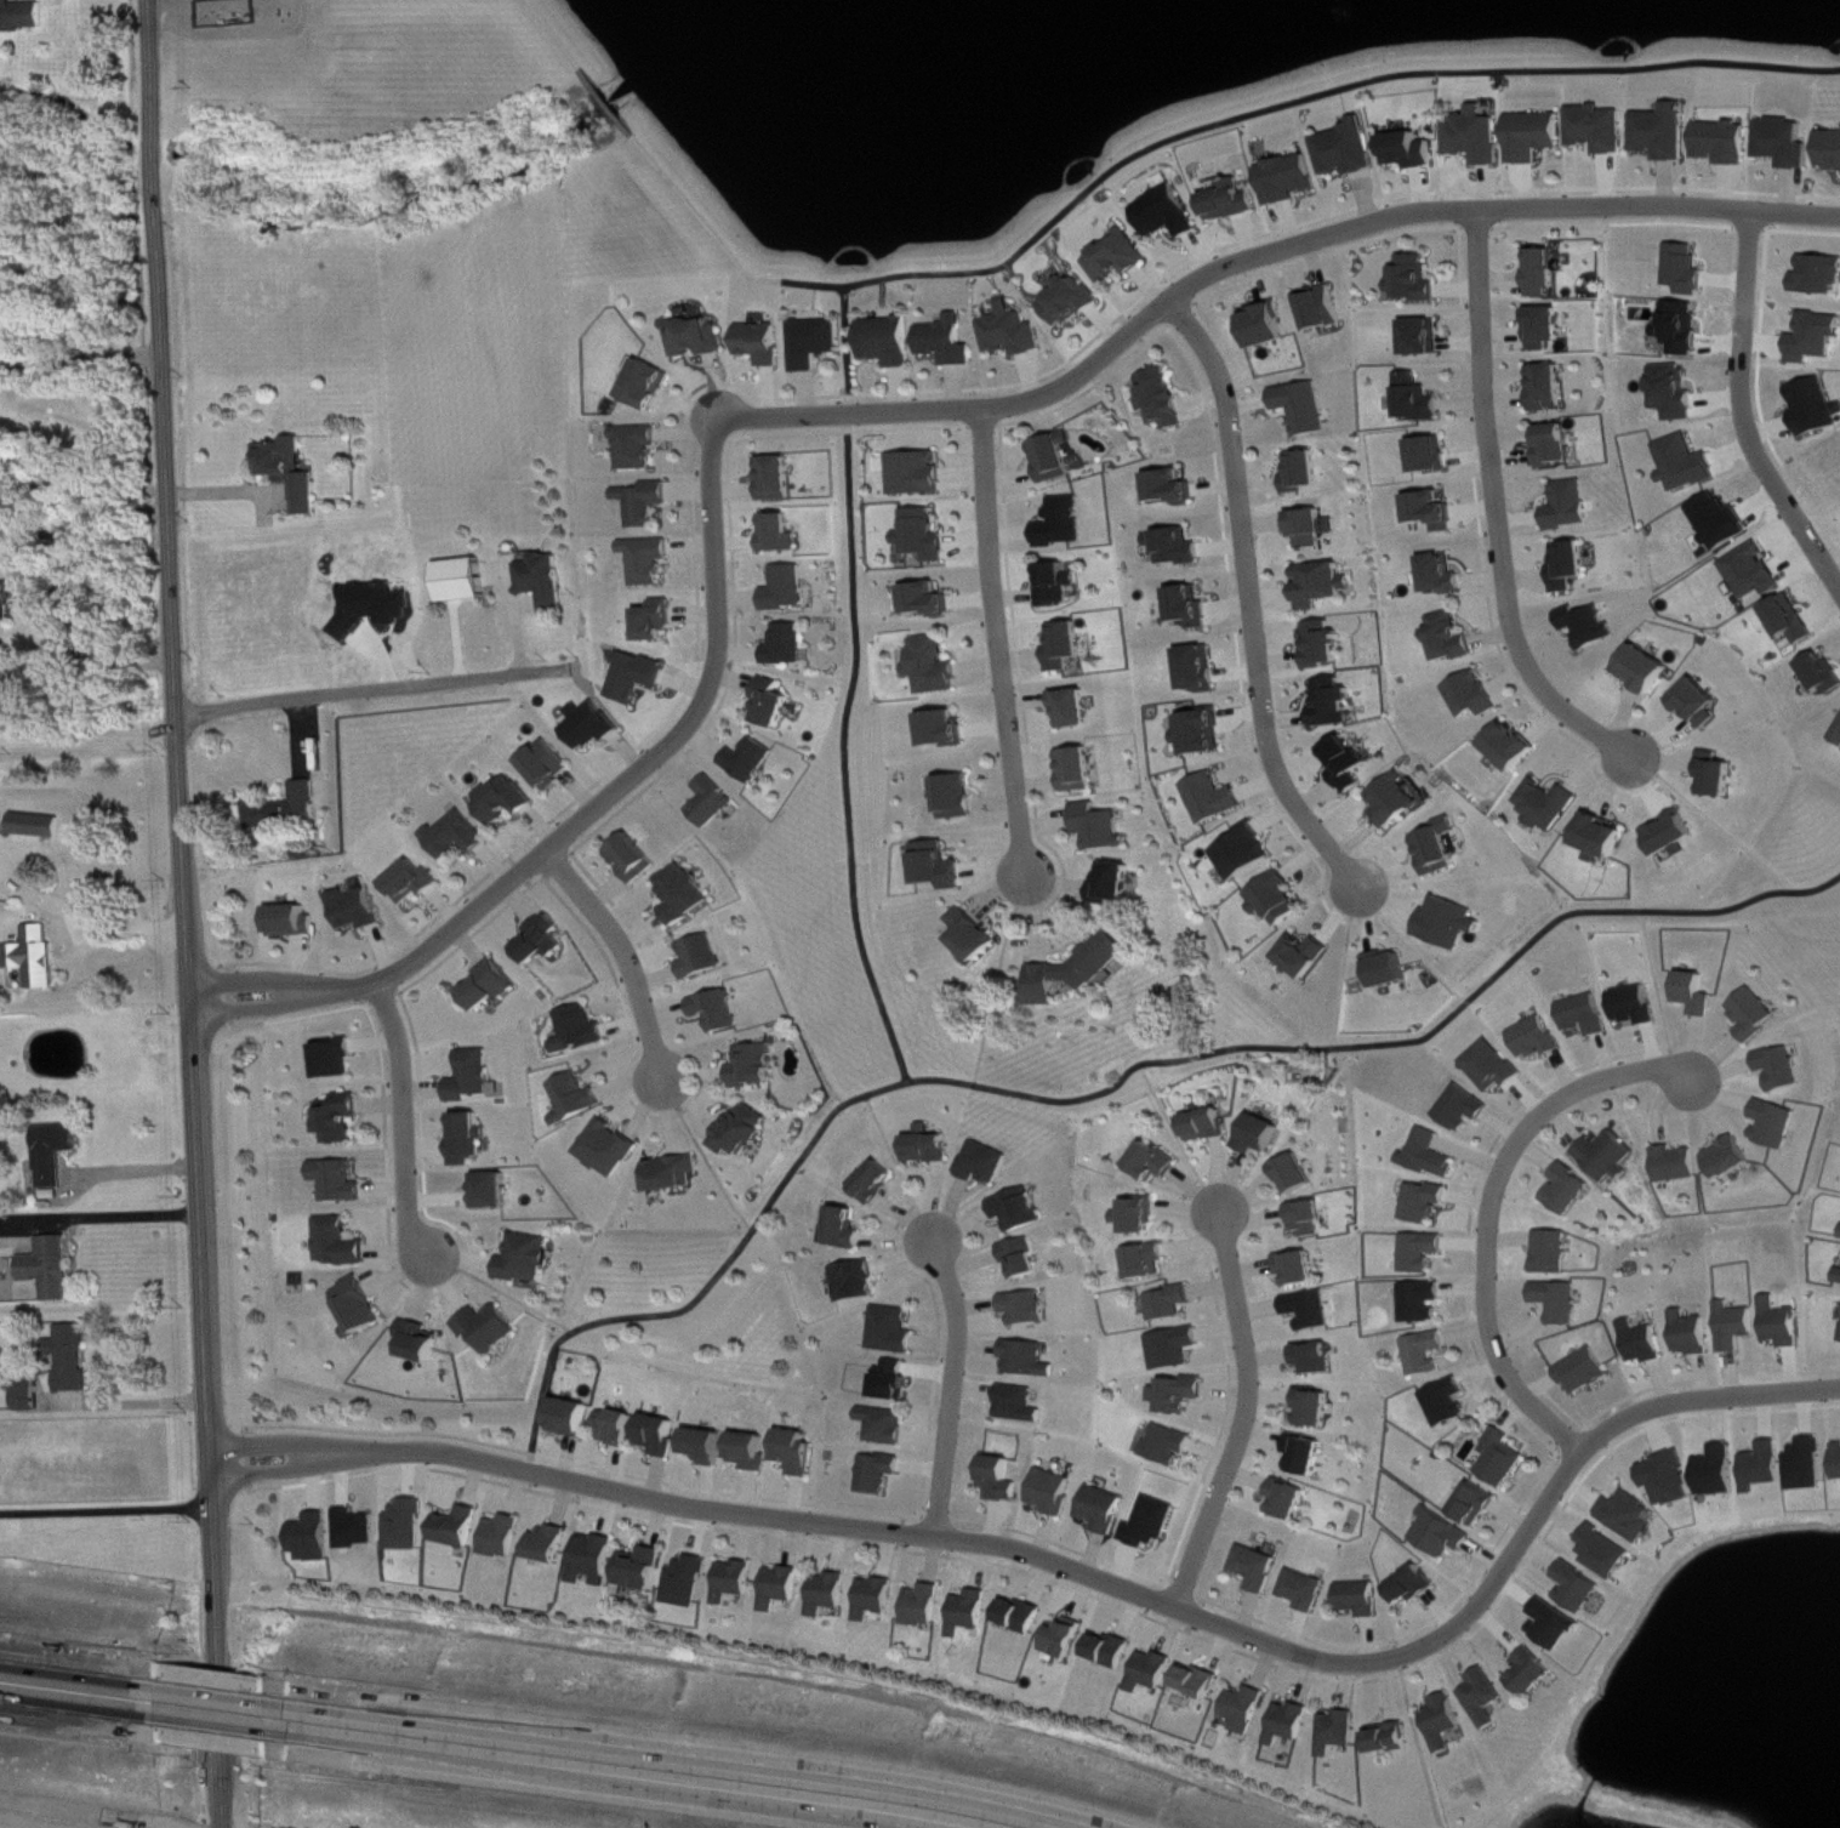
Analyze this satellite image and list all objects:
building: (21, 15)
road: (556, 33)
road: (610, 99)
building: (1602, 127)
road: (1184, 131)
building: (1668, 131)
building: (1481, 136)
building: (1539, 136)
building: (1728, 142)
building: (1789, 142)
building: (1351, 149)
building: (1415, 149)
building: (1833, 149)
building: (1293, 178)
building: (1236, 200)
building: (1172, 212)
building: (1121, 257)
building: (1690, 268)
building: (1546, 271)
building: (1821, 274)
building: (1075, 301)
building: (1326, 307)
building: (1270, 325)
building: (1550, 326)
building: (1686, 326)
building: (1016, 331)
building: (702, 337)
building: (1426, 337)
building: (1817, 337)
building: (820, 341)
building: (893, 341)
building: (952, 341)
building: (767, 342)
road: (849, 347)
road: (80, 355)
building: (654, 383)
building: (1551, 387)
building: (1676, 391)
building: (1166, 398)
building: (1422, 399)
building: (1308, 406)
building: (1817, 406)
road: (855, 410)
road: (1741, 411)
building: (1559, 444)
building: (642, 446)
building: (1434, 454)
building: (1059, 456)
building: (1687, 463)
building: (292, 471)
building: (1306, 471)
building: (921, 473)
building: (780, 478)
road: (79, 484)
building: (1174, 486)
building: (650, 502)
road: (1497, 503)
building: (1572, 505)
building: (1435, 511)
building: (1067, 523)
building: (1312, 528)
building: (784, 533)
building: (927, 535)
building: (1180, 546)
building: (653, 560)
building: (1573, 565)
building: (1755, 571)
building: (1445, 575)
road: (30, 577)
building: (466, 580)
building: (548, 580)
building: (1063, 583)
building: (1326, 583)
building: (790, 588)
road: (1248, 597)
building: (930, 599)
building: (7, 600)
building: (1194, 607)
building: (1791, 619)
building: (660, 620)
building: (1591, 625)
building: (1453, 637)
road: (1004, 642)
building: (1326, 643)
building: (791, 644)
building: (1070, 645)
building: (938, 666)
building: (1202, 668)
building: (1648, 668)
building: (1824, 673)
building: (640, 676)
road: (372, 690)
building: (1475, 694)
building: (1337, 702)
building: (774, 704)
building: (1702, 704)
building: (1078, 707)
building: (594, 724)
building: (947, 728)
building: (1206, 731)
road: (89, 738)
building: (1839, 738)
building: (1514, 746)
road: (845, 748)
building: (752, 759)
building: (1352, 762)
building: (551, 763)
building: (1082, 769)
building: (1719, 774)
building: (961, 796)
building: (1217, 797)
building: (1401, 799)
building: (507, 801)
building: (714, 802)
building: (1550, 803)
building: (290, 808)
road: (1710, 818)
building: (40, 825)
building: (1104, 826)
building: (1, 827)
building: (460, 835)
building: (1673, 835)
building: (1603, 837)
building: (1442, 847)
building: (1247, 852)
building: (636, 858)
building: (942, 865)
building: (416, 881)
building: (1118, 881)
building: (685, 893)
building: (1278, 898)
building: (358, 909)
road: (186, 913)
building: (295, 921)
building: (1453, 922)
building: (975, 934)
building: (543, 939)
road: (623, 949)
building: (1308, 955)
building: (36, 956)
building: (705, 956)
road: (1345, 967)
building: (1392, 968)
building: (1079, 969)
road: (997, 978)
building: (491, 986)
road: (1659, 989)
building: (1699, 992)
building: (1637, 1004)
building: (720, 1010)
building: (1756, 1013)
building: (1589, 1014)
building: (581, 1029)
building: (1540, 1037)
building: (338, 1057)
building: (757, 1065)
building: (1496, 1065)
building: (1784, 1067)
building: (474, 1075)
road: (1107, 1087)
building: (577, 1098)
building: (1466, 1107)
road: (403, 1116)
building: (342, 1117)
building: (1778, 1123)
building: (1209, 1124)
building: (744, 1131)
road: (1175, 1133)
building: (1263, 1134)
building: (471, 1138)
building: (932, 1146)
building: (610, 1148)
building: (56, 1152)
road: (702, 1152)
building: (1434, 1155)
building: (1611, 1156)
building: (1732, 1157)
building: (987, 1162)
building: (1155, 1162)
building: (1680, 1163)
road: (899, 1166)
road: (135, 1171)
building: (674, 1173)
building: (1298, 1173)
building: (341, 1180)
building: (878, 1180)
building: (1571, 1189)
building: (494, 1190)
building: (1428, 1202)
road: (1491, 1206)
building: (1021, 1209)
building: (1140, 1214)
road: (123, 1218)
building: (1311, 1218)
building: (0, 1229)
building: (847, 1229)
building: (341, 1242)
building: (1424, 1252)
building: (1555, 1252)
building: (1025, 1257)
building: (526, 1259)
building: (1150, 1260)
building: (51, 1268)
building: (1301, 1268)
building: (858, 1280)
building: (1839, 1280)
road: (497, 1288)
building: (1425, 1302)
building: (1562, 1302)
building: (1172, 1303)
building: (360, 1306)
building: (1030, 1308)
building: (1314, 1309)
building: (1783, 1323)
building: (1737, 1326)
building: (491, 1327)
building: (895, 1329)
building: (1693, 1333)
building: (421, 1340)
building: (1646, 1342)
building: (1177, 1348)
building: (1429, 1353)
building: (73, 1357)
building: (1318, 1357)
building: (1031, 1359)
building: (1586, 1371)
building: (895, 1379)
road: (955, 1384)
building: (30, 1394)
building: (1181, 1394)
building: (1451, 1401)
road: (129, 1403)
building: (1021, 1403)
building: (1318, 1407)
road: (1246, 1408)
building: (574, 1417)
building: (887, 1425)
building: (619, 1426)
building: (662, 1434)
road: (277, 1439)
building: (708, 1445)
building: (1172, 1445)
building: (753, 1450)
building: (799, 1451)
building: (1309, 1454)
building: (1504, 1458)
building: (1838, 1460)
building: (1808, 1464)
building: (1765, 1467)
road: (279, 1468)
building: (1720, 1471)
building: (879, 1473)
building: (1002, 1479)
building: (1670, 1479)
building: (1054, 1492)
building: (1292, 1498)
building: (1479, 1504)
building: (1105, 1508)
road: (106, 1511)
building: (1631, 1515)
building: (1152, 1522)
building: (409, 1525)
building: (460, 1527)
building: (358, 1528)
building: (1445, 1533)
building: (505, 1536)
building: (315, 1537)
building: (552, 1543)
building: (1606, 1551)
building: (596, 1559)
building: (1259, 1567)
building: (643, 1568)
building: (736, 1579)
building: (689, 1581)
building: (1415, 1585)
building: (782, 1587)
building: (1580, 1588)
building: (1306, 1589)
building: (831, 1593)
road: (1146, 1595)
building: (877, 1598)
building: (1362, 1598)
building: (925, 1605)
building: (972, 1612)
building: (1024, 1616)
building: (1556, 1624)
building: (1067, 1638)
building: (1112, 1650)
road: (72, 1669)
building: (1153, 1670)
building: (1533, 1673)
building: (1201, 1681)
road: (220, 1689)
building: (1487, 1697)
building: (1248, 1708)
road: (73, 1710)
building: (1447, 1721)
building: (1292, 1722)
building: (1340, 1731)
road: (222, 1732)
building: (1392, 1739)
road: (1418, 1741)
road: (702, 1752)
road: (605, 1784)
crop: (35, 1821)

